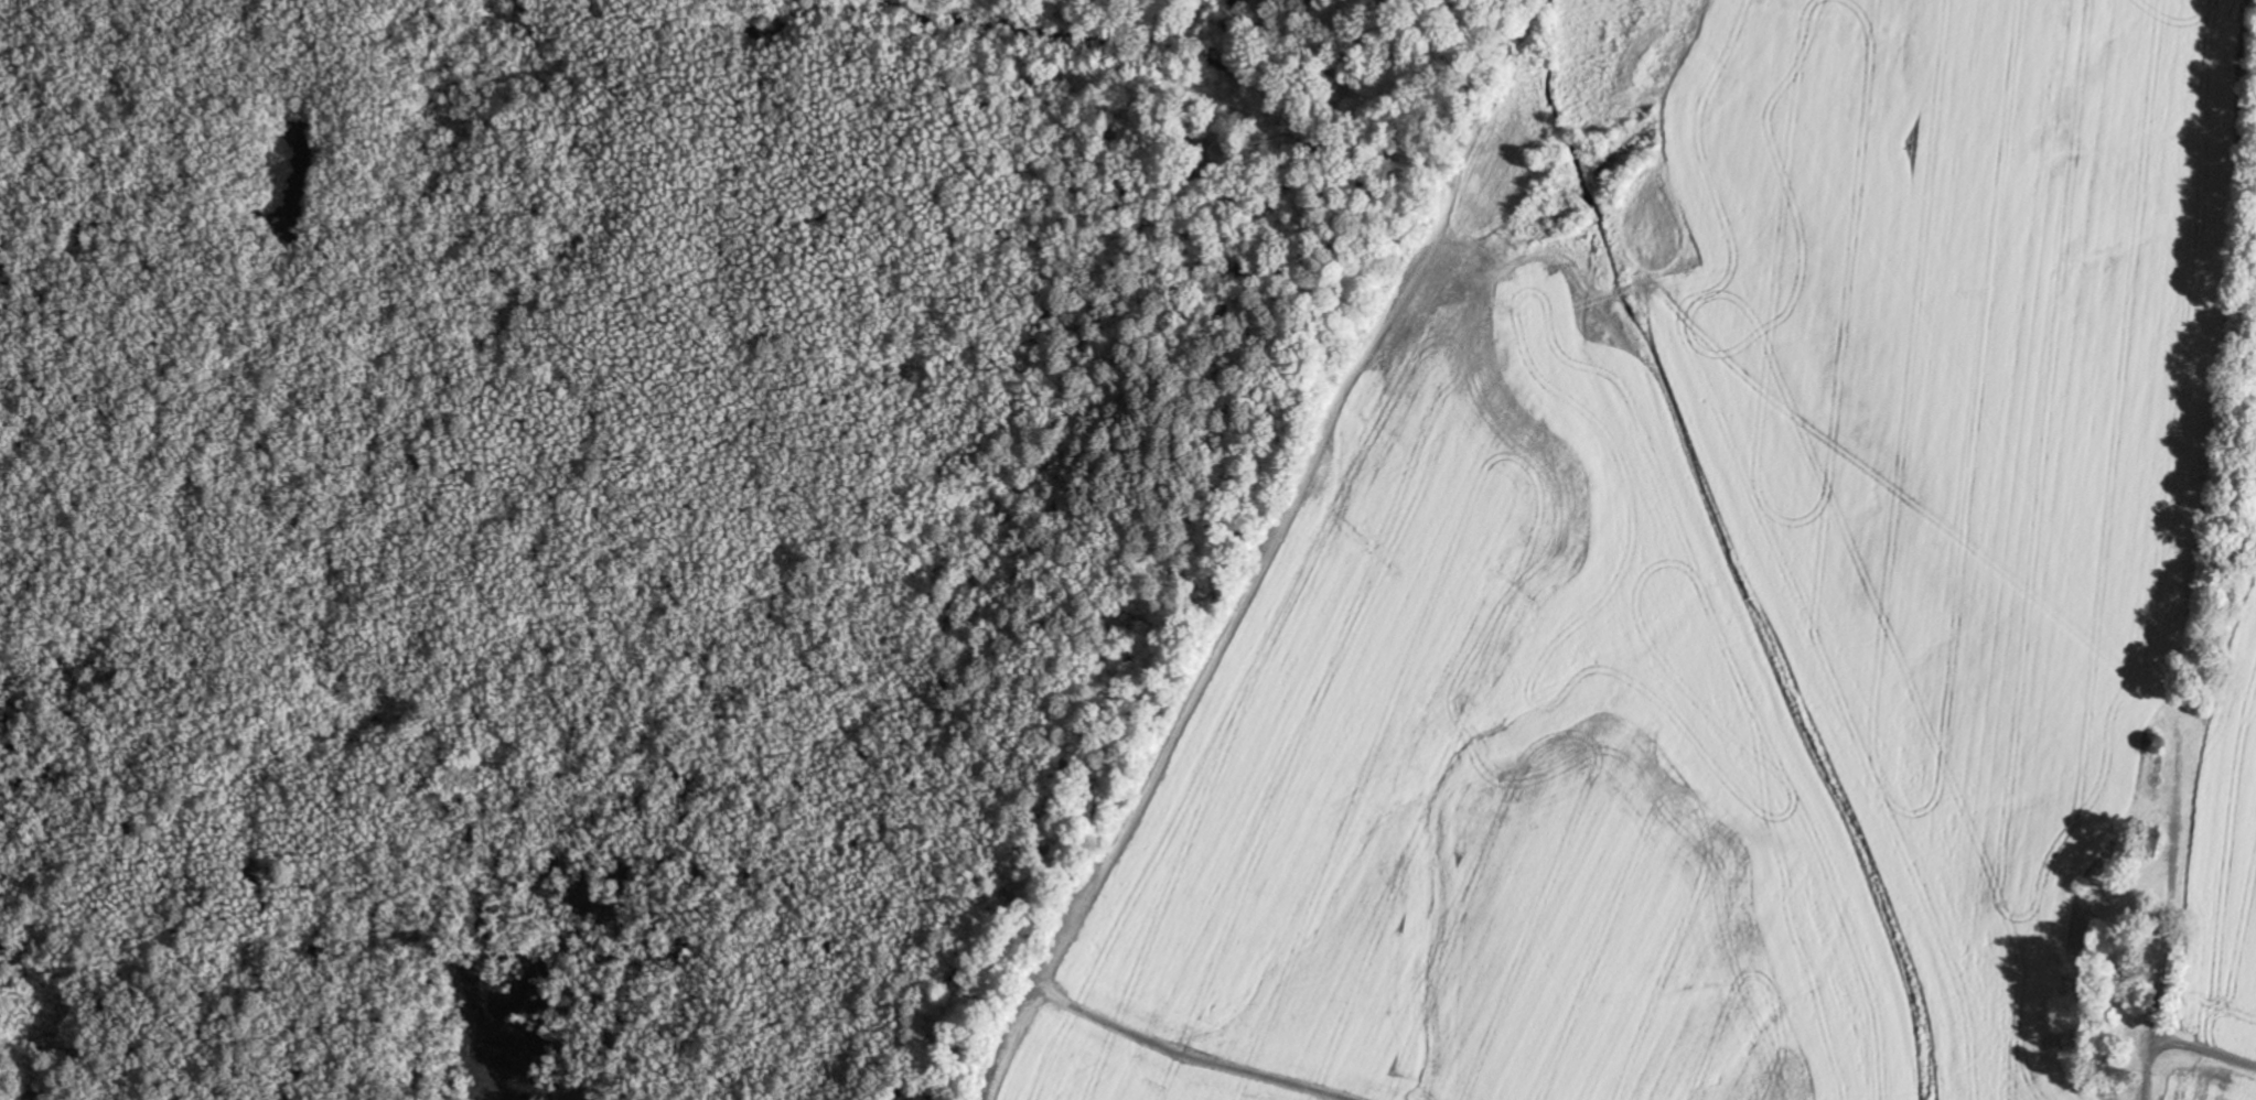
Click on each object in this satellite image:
road: (2181, 1044)

